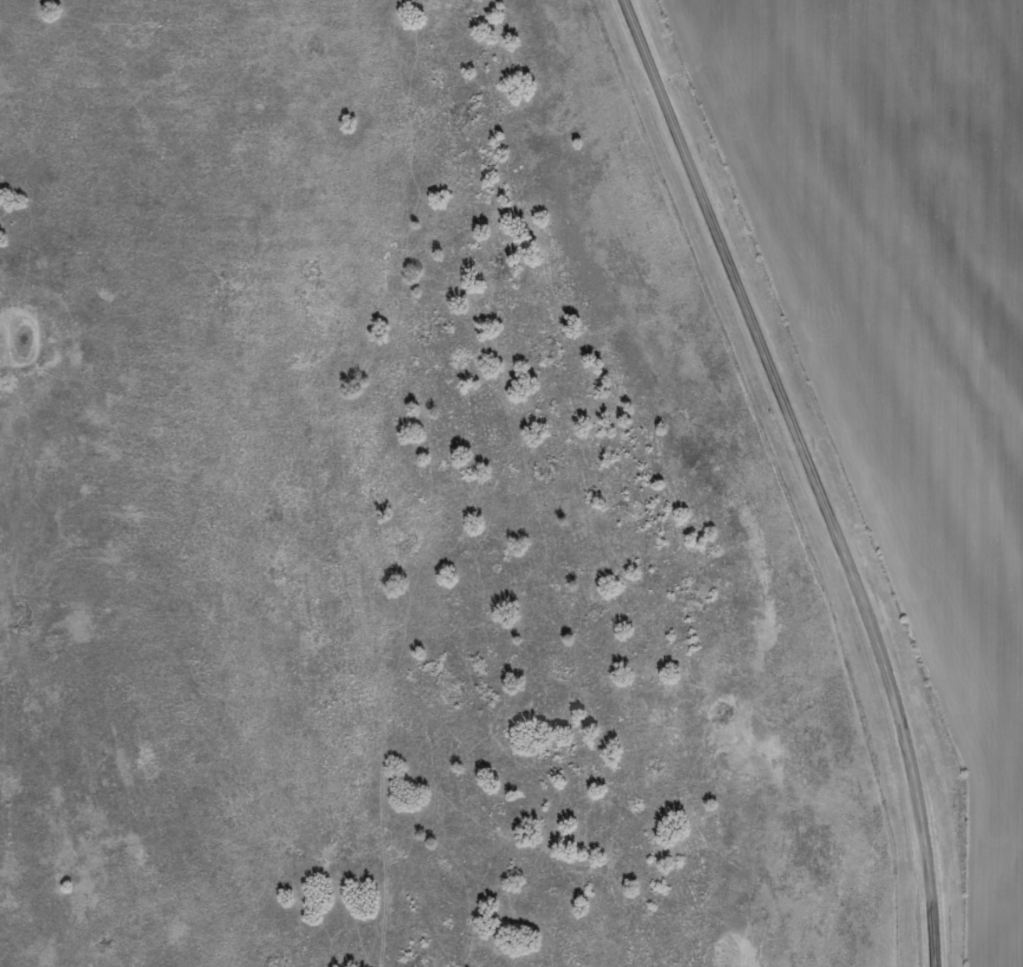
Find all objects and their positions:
road: (813, 474)

